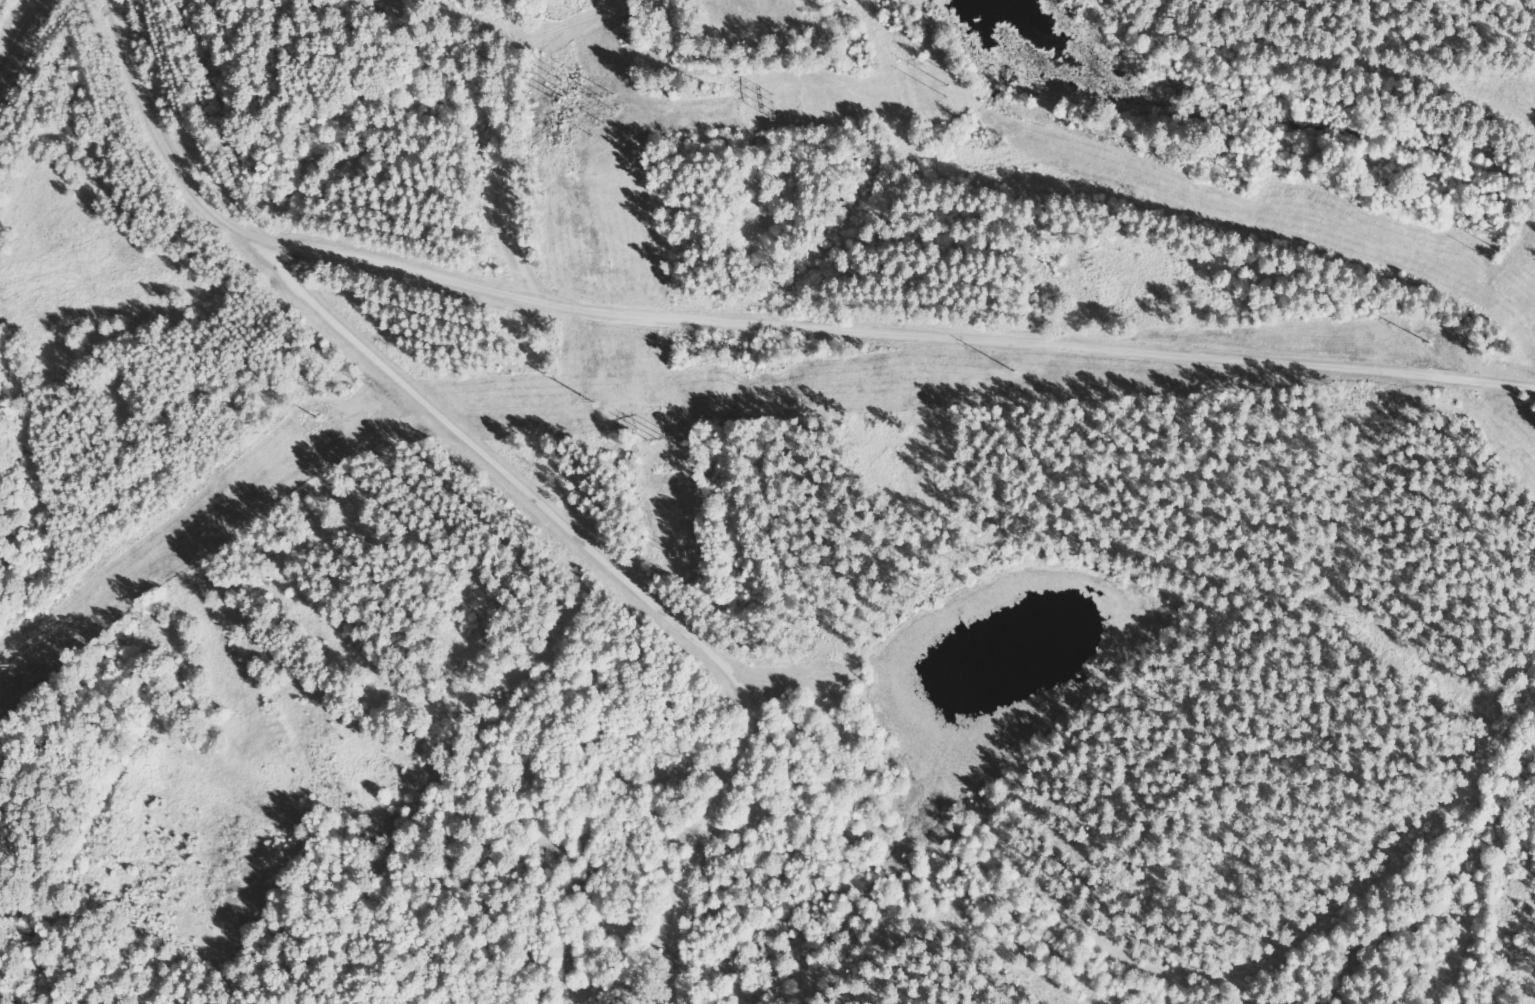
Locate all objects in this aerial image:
power tower: (573, 95)
road: (749, 321)
power tower: (1432, 342)
power tower: (1015, 370)
power tower: (610, 402)
power tower: (331, 423)
power tower: (23, 667)

